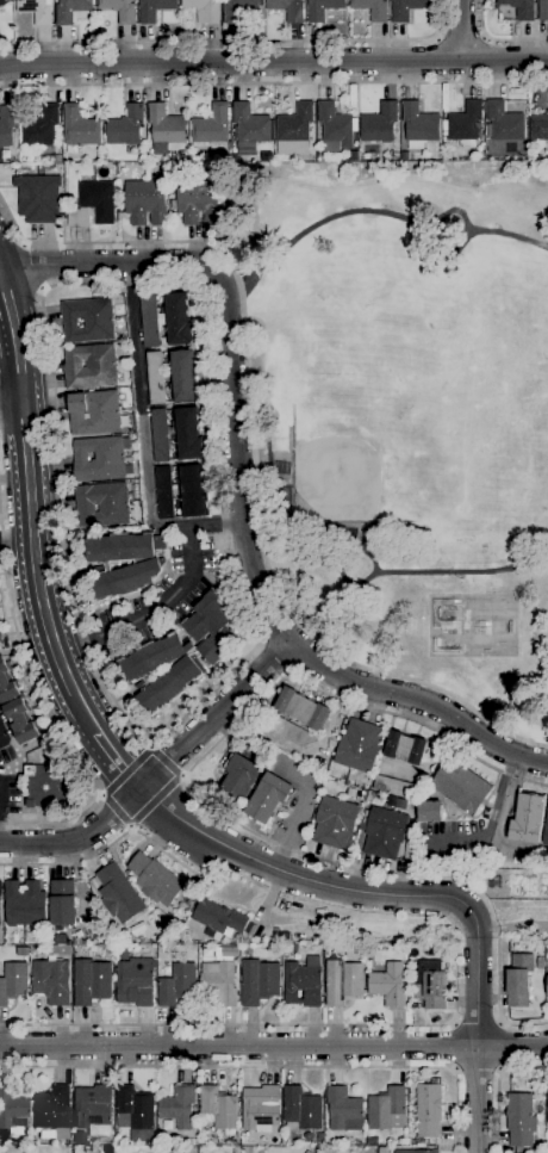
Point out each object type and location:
building: (1, 1)
building: (154, 8)
building: (236, 8)
building: (287, 8)
building: (322, 8)
building: (372, 8)
building: (405, 8)
building: (521, 8)
building: (36, 10)
building: (70, 10)
building: (120, 10)
building: (203, 10)
building: (543, 10)
road: (459, 29)
road: (459, 36)
road: (498, 37)
road: (235, 39)
road: (435, 58)
road: (485, 58)
road: (273, 61)
road: (273, 82)
building: (353, 94)
building: (504, 120)
building: (7, 123)
building: (249, 123)
building: (294, 123)
building: (379, 123)
building: (466, 123)
building: (419, 124)
building: (42, 125)
building: (79, 125)
building: (125, 125)
building: (538, 125)
building: (335, 126)
building: (164, 128)
building: (212, 129)
building: (100, 155)
building: (354, 155)
building: (405, 155)
building: (56, 157)
building: (37, 197)
building: (145, 202)
building: (198, 202)
building: (93, 204)
road: (376, 213)
road: (41, 266)
building: (87, 318)
building: (166, 318)
road: (228, 354)
building: (89, 366)
building: (182, 373)
building: (155, 377)
road: (141, 395)
road: (11, 397)
building: (93, 411)
park: (403, 414)
building: (188, 433)
building: (160, 434)
road: (253, 454)
building: (100, 458)
road: (26, 460)
building: (191, 490)
building: (163, 491)
building: (101, 503)
road: (198, 525)
road: (17, 539)
building: (143, 566)
road: (392, 574)
road: (170, 596)
park: (471, 624)
road: (79, 638)
building: (0, 646)
building: (180, 653)
road: (274, 656)
road: (222, 678)
road: (71, 683)
road: (419, 701)
building: (15, 707)
building: (301, 707)
road: (54, 723)
building: (288, 731)
building: (359, 745)
building: (405, 746)
road: (116, 752)
road: (166, 760)
road: (157, 769)
building: (241, 776)
building: (46, 785)
road: (107, 786)
building: (396, 786)
building: (462, 786)
building: (268, 796)
road: (157, 802)
road: (208, 804)
building: (429, 810)
building: (528, 818)
building: (335, 822)
road: (503, 822)
road: (488, 826)
building: (385, 832)
building: (546, 832)
road: (111, 842)
road: (481, 866)
road: (303, 878)
building: (155, 879)
building: (0, 887)
building: (118, 893)
building: (25, 903)
building: (62, 903)
building: (218, 918)
road: (510, 928)
building: (293, 947)
building: (360, 948)
building: (23, 950)
building: (229, 950)
building: (123, 954)
building: (540, 962)
building: (518, 979)
building: (51, 980)
building: (91, 980)
building: (13, 981)
building: (136, 981)
building: (219, 981)
building: (259, 981)
building: (303, 981)
building: (342, 981)
building: (432, 982)
building: (178, 984)
building: (388, 984)
road: (477, 1022)
road: (269, 1023)
road: (477, 1039)
road: (500, 1044)
road: (274, 1046)
road: (452, 1046)
road: (267, 1066)
road: (475, 1071)
road: (497, 1087)
building: (547, 1102)
building: (93, 1105)
building: (179, 1105)
building: (218, 1106)
building: (51, 1108)
building: (132, 1108)
building: (261, 1108)
building: (301, 1108)
building: (343, 1108)
building: (387, 1108)
building: (428, 1109)
building: (12, 1110)
building: (519, 1118)
building: (307, 1135)
building: (319, 1139)
building: (372, 1140)
building: (541, 1147)
building: (417, 1151)

